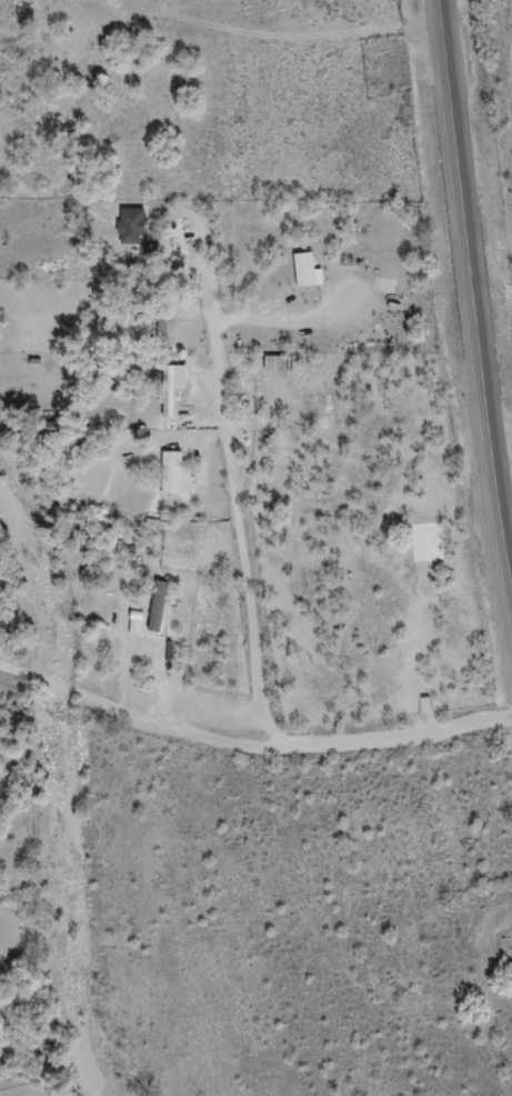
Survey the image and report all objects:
building: (155, 252)
building: (305, 270)
road: (470, 288)
road: (119, 369)
building: (173, 474)
building: (161, 609)
building: (135, 624)
road: (255, 757)

